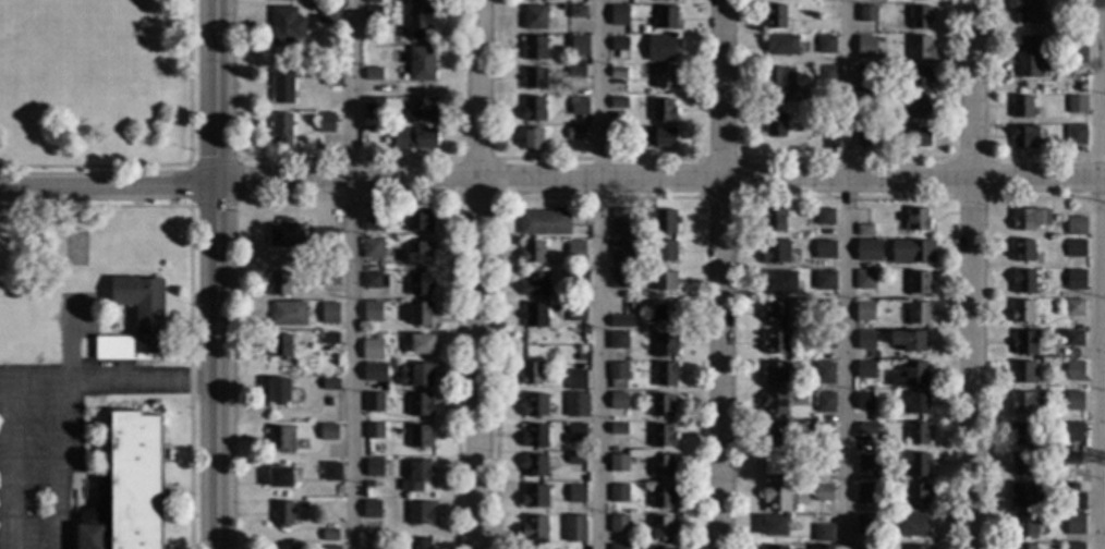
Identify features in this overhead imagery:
building: (545, 0)
building: (659, 0)
building: (921, 0)
building: (283, 1)
building: (372, 1)
building: (1076, 4)
park: (61, 11)
building: (826, 11)
building: (1029, 11)
building: (576, 12)
building: (620, 12)
building: (867, 14)
building: (328, 15)
building: (372, 15)
building: (920, 16)
building: (535, 17)
building: (776, 17)
building: (665, 20)
building: (420, 23)
building: (286, 26)
building: (781, 45)
building: (826, 45)
building: (579, 47)
building: (865, 47)
building: (619, 48)
building: (660, 48)
building: (920, 48)
building: (534, 49)
building: (1077, 49)
building: (1027, 56)
building: (422, 64)
building: (575, 73)
building: (618, 73)
building: (373, 74)
building: (870, 74)
building: (826, 76)
building: (331, 77)
building: (533, 78)
building: (665, 78)
building: (919, 78)
building: (780, 84)
park: (97, 85)
building: (282, 87)
building: (1080, 88)
road: (218, 91)
building: (866, 102)
building: (618, 103)
building: (372, 105)
building: (1077, 105)
building: (579, 107)
building: (916, 108)
building: (1022, 108)
building: (533, 109)
building: (421, 110)
building: (663, 111)
building: (325, 123)
building: (825, 123)
building: (775, 125)
building: (281, 129)
building: (575, 134)
building: (1077, 135)
building: (652, 137)
building: (919, 137)
building: (1024, 137)
building: (863, 138)
building: (414, 139)
building: (532, 139)
road: (661, 180)
road: (109, 184)
building: (824, 217)
building: (1029, 219)
building: (417, 220)
building: (774, 220)
building: (916, 220)
building: (544, 222)
building: (621, 222)
building: (665, 222)
building: (372, 225)
building: (1076, 227)
building: (864, 231)
building: (286, 234)
building: (324, 237)
building: (373, 247)
building: (1076, 248)
building: (576, 251)
building: (620, 251)
building: (665, 251)
building: (825, 251)
building: (869, 251)
building: (775, 252)
building: (912, 252)
building: (1022, 252)
building: (533, 253)
building: (418, 254)
building: (339, 263)
road: (351, 273)
road: (974, 273)
road: (1095, 273)
road: (483, 274)
road: (600, 274)
road: (726, 274)
road: (847, 274)
building: (574, 277)
building: (330, 279)
building: (864, 280)
building: (1074, 280)
building: (375, 281)
building: (620, 281)
building: (664, 281)
building: (824, 281)
building: (1023, 282)
building: (778, 283)
building: (919, 283)
building: (278, 284)
building: (418, 284)
building: (535, 285)
building: (1073, 307)
building: (373, 308)
building: (825, 309)
building: (575, 312)
building: (864, 312)
building: (1022, 312)
building: (665, 313)
building: (777, 313)
building: (289, 314)
building: (329, 314)
building: (421, 314)
building: (919, 314)
building: (534, 316)
building: (136, 321)
building: (618, 321)
building: (1073, 338)
building: (329, 339)
building: (823, 340)
building: (618, 341)
building: (865, 341)
building: (909, 341)
building: (776, 343)
building: (1025, 343)
building: (422, 344)
building: (665, 345)
building: (280, 346)
building: (372, 351)
building: (1077, 356)
road: (218, 365)
building: (865, 370)
building: (1074, 371)
building: (371, 373)
building: (775, 374)
building: (824, 374)
building: (1023, 374)
building: (531, 375)
building: (665, 375)
building: (421, 376)
building: (618, 376)
building: (911, 376)
building: (576, 380)
road: (108, 385)
building: (330, 385)
building: (279, 391)
building: (1076, 398)
building: (618, 401)
building: (864, 401)
building: (328, 402)
building: (824, 402)
building: (374, 403)
building: (918, 403)
building: (775, 404)
building: (1027, 404)
building: (420, 405)
building: (576, 405)
building: (661, 405)
building: (534, 406)
building: (618, 429)
building: (866, 429)
building: (374, 431)
building: (824, 431)
building: (327, 432)
building: (1073, 432)
building: (575, 434)
building: (918, 434)
building: (1023, 435)
building: (535, 436)
building: (774, 436)
building: (663, 437)
building: (420, 438)
building: (280, 440)
building: (1071, 459)
building: (575, 460)
building: (864, 463)
building: (618, 464)
building: (824, 464)
building: (1021, 464)
building: (534, 465)
building: (775, 465)
building: (916, 465)
road: (11, 467)
road: (57, 467)
building: (661, 467)
building: (374, 468)
building: (331, 472)
building: (417, 476)
building: (279, 477)
building: (368, 485)
building: (127, 489)
building: (865, 491)
building: (576, 493)
building: (618, 493)
building: (824, 493)
building: (916, 495)
building: (534, 496)
building: (661, 497)
building: (1020, 497)
building: (776, 498)
building: (1074, 502)
building: (372, 510)
building: (282, 514)
building: (420, 514)
building: (618, 524)
building: (864, 524)
building: (1073, 524)
building: (325, 525)
building: (911, 525)
building: (774, 526)
building: (1023, 526)
building: (663, 528)
building: (574, 529)
building: (532, 533)
building: (823, 534)
building: (329, 535)
building: (420, 544)
building: (1074, 546)
building: (619, 547)
building: (819, 547)
building: (869, 547)
building: (918, 547)
building: (1023, 547)
building: (287, 548)
building: (330, 548)
building: (376, 548)
building: (661, 548)
building: (776, 548)

